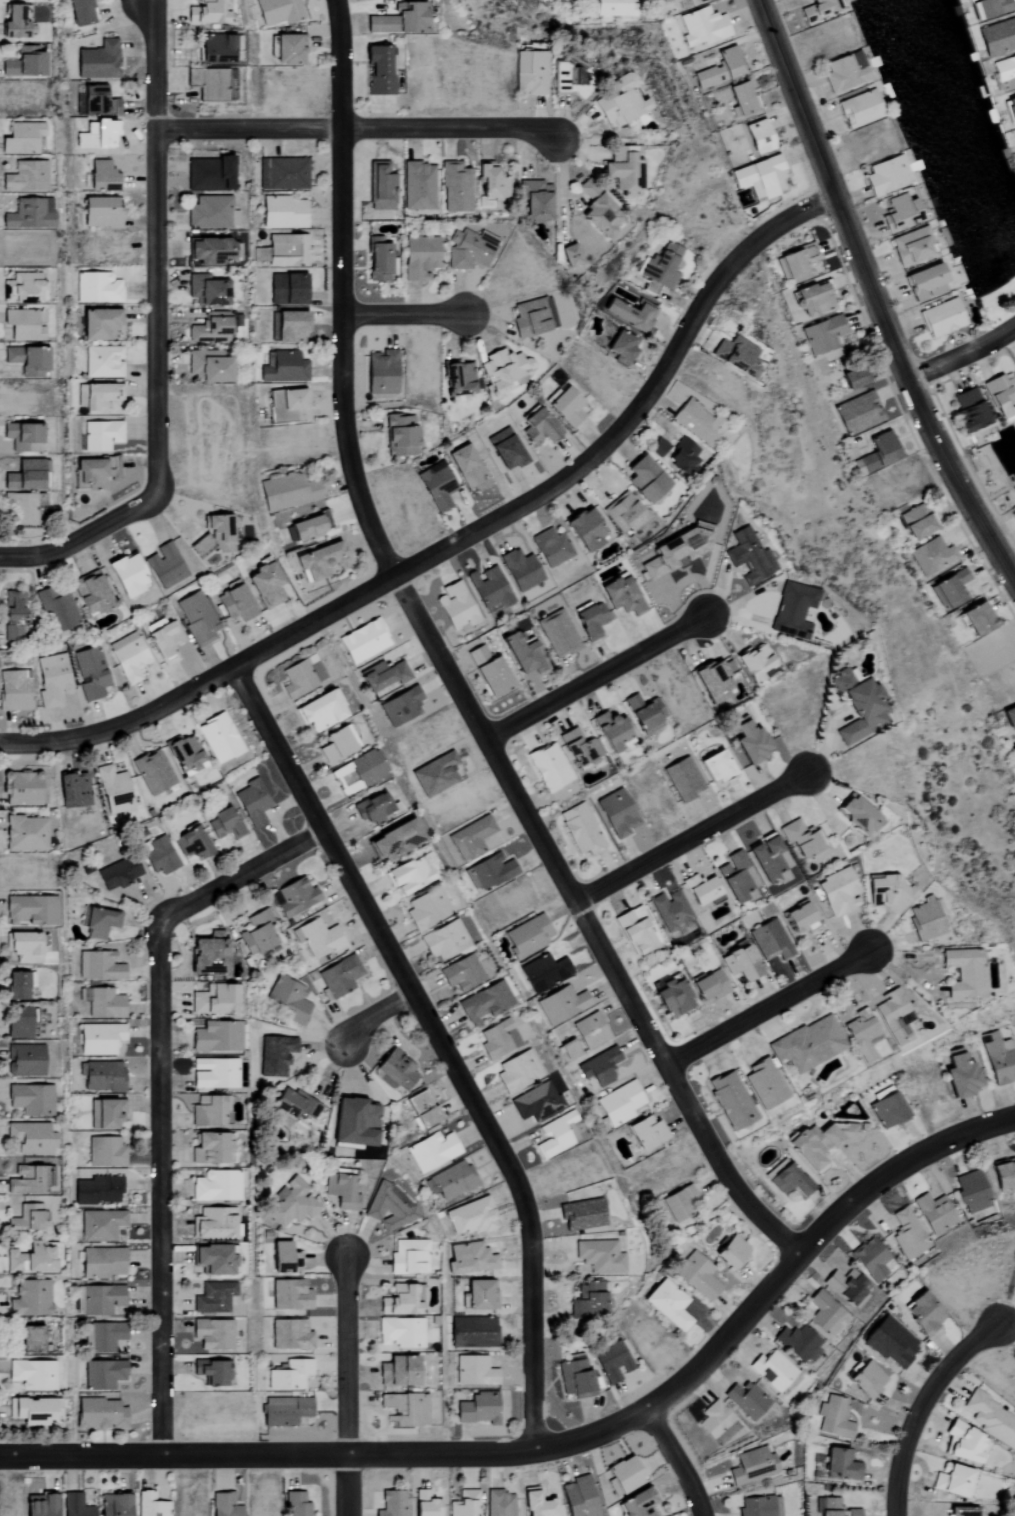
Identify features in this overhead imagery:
building: (651, 0)
building: (570, 1)
building: (665, 1)
building: (989, 8)
building: (615, 9)
building: (818, 10)
building: (81, 12)
building: (277, 12)
building: (205, 13)
building: (397, 20)
building: (12, 22)
building: (702, 27)
building: (997, 37)
building: (214, 49)
building: (286, 50)
building: (97, 61)
building: (23, 63)
road: (344, 64)
building: (719, 69)
building: (379, 70)
building: (530, 72)
building: (844, 72)
building: (1004, 73)
building: (569, 81)
building: (207, 84)
building: (740, 100)
building: (618, 102)
building: (97, 103)
building: (1010, 109)
building: (859, 110)
road: (362, 128)
building: (1014, 134)
building: (757, 137)
building: (21, 138)
building: (207, 174)
building: (262, 174)
building: (287, 174)
building: (624, 175)
building: (886, 176)
building: (24, 177)
building: (101, 177)
building: (760, 179)
building: (492, 183)
building: (417, 186)
building: (380, 187)
building: (456, 188)
building: (535, 201)
building: (597, 211)
building: (99, 213)
building: (210, 213)
building: (282, 213)
building: (898, 213)
building: (28, 215)
building: (910, 246)
building: (287, 251)
building: (467, 251)
building: (210, 252)
building: (569, 256)
building: (418, 258)
building: (377, 261)
building: (796, 263)
building: (660, 269)
building: (925, 283)
building: (97, 288)
building: (20, 289)
building: (286, 290)
building: (205, 291)
road: (875, 298)
building: (813, 301)
road: (407, 314)
building: (629, 315)
building: (532, 318)
building: (941, 318)
building: (98, 324)
building: (22, 325)
building: (270, 327)
building: (288, 327)
building: (208, 329)
road: (157, 333)
building: (823, 335)
building: (620, 349)
road: (962, 355)
building: (738, 357)
building: (24, 362)
building: (103, 362)
building: (207, 367)
building: (283, 367)
building: (499, 372)
building: (381, 373)
building: (458, 380)
building: (853, 380)
building: (1000, 396)
building: (94, 398)
building: (294, 404)
building: (565, 408)
building: (969, 411)
building: (857, 414)
building: (698, 423)
building: (537, 428)
building: (100, 436)
building: (399, 436)
building: (21, 438)
building: (657, 448)
building: (876, 454)
building: (683, 458)
building: (466, 469)
building: (97, 473)
building: (24, 476)
building: (644, 480)
building: (436, 487)
building: (289, 492)
building: (18, 509)
building: (624, 513)
building: (1013, 518)
building: (916, 522)
building: (310, 527)
building: (584, 531)
building: (219, 533)
road: (464, 538)
building: (551, 548)
building: (673, 553)
building: (749, 557)
building: (931, 557)
building: (321, 562)
building: (165, 566)
building: (520, 570)
building: (124, 576)
building: (263, 585)
building: (489, 589)
building: (951, 590)
building: (90, 595)
building: (235, 604)
building: (455, 608)
building: (56, 609)
building: (793, 611)
building: (11, 618)
building: (197, 618)
building: (977, 619)
building: (590, 621)
building: (558, 635)
building: (163, 641)
building: (363, 642)
building: (519, 654)
building: (128, 658)
building: (754, 663)
building: (488, 672)
building: (90, 674)
building: (384, 677)
road: (599, 677)
building: (51, 680)
building: (712, 683)
building: (14, 691)
building: (858, 707)
building: (400, 708)
building: (317, 712)
building: (644, 714)
building: (1009, 718)
road: (479, 720)
building: (609, 730)
building: (217, 738)
building: (333, 744)
building: (751, 744)
building: (578, 748)
building: (1013, 749)
building: (184, 753)
building: (715, 766)
building: (365, 767)
building: (548, 767)
building: (152, 772)
building: (434, 774)
building: (682, 779)
building: (26, 787)
building: (74, 790)
building: (113, 790)
building: (252, 803)
building: (369, 809)
building: (616, 814)
building: (857, 814)
building: (223, 824)
building: (580, 829)
building: (24, 833)
road: (695, 837)
building: (471, 838)
building: (800, 838)
building: (391, 839)
building: (192, 843)
building: (158, 855)
building: (769, 860)
building: (489, 872)
building: (118, 873)
building: (406, 874)
building: (736, 876)
building: (700, 889)
building: (887, 892)
building: (838, 893)
building: (294, 896)
building: (30, 910)
building: (426, 910)
building: (670, 911)
building: (800, 919)
building: (925, 919)
building: (98, 922)
building: (634, 931)
building: (256, 933)
building: (319, 937)
building: (526, 937)
building: (770, 940)
building: (442, 941)
building: (23, 947)
building: (207, 954)
building: (739, 963)
building: (98, 966)
building: (543, 972)
building: (459, 973)
building: (964, 973)
building: (339, 976)
building: (17, 984)
building: (709, 986)
building: (671, 997)
building: (213, 999)
building: (289, 999)
building: (102, 1003)
building: (483, 1003)
building: (560, 1005)
road: (775, 1007)
road: (374, 1015)
building: (895, 1017)
building: (16, 1023)
building: (589, 1031)
building: (216, 1037)
building: (862, 1037)
building: (99, 1039)
building: (496, 1039)
building: (807, 1045)
road: (442, 1046)
building: (569, 1049)
building: (999, 1058)
building: (23, 1060)
building: (598, 1067)
building: (396, 1070)
building: (516, 1071)
building: (212, 1073)
building: (960, 1074)
building: (102, 1076)
building: (763, 1084)
road: (162, 1091)
building: (29, 1099)
building: (729, 1101)
building: (535, 1103)
building: (619, 1104)
building: (293, 1106)
building: (421, 1109)
building: (887, 1109)
building: (205, 1111)
building: (102, 1115)
building: (354, 1122)
building: (645, 1133)
building: (556, 1135)
building: (29, 1138)
building: (820, 1145)
building: (211, 1148)
building: (432, 1151)
building: (106, 1152)
building: (1004, 1175)
building: (786, 1178)
building: (26, 1180)
building: (452, 1181)
building: (216, 1185)
building: (98, 1191)
building: (341, 1192)
building: (972, 1192)
building: (678, 1203)
building: (290, 1204)
building: (390, 1208)
building: (935, 1214)
building: (581, 1216)
building: (469, 1217)
building: (24, 1218)
building: (212, 1223)
building: (100, 1225)
building: (908, 1234)
building: (730, 1251)
building: (407, 1257)
building: (599, 1257)
building: (282, 1258)
building: (28, 1259)
building: (213, 1259)
building: (469, 1259)
building: (872, 1260)
building: (101, 1263)
building: (697, 1275)
building: (846, 1286)
building: (289, 1295)
building: (478, 1295)
building: (212, 1298)
building: (28, 1299)
building: (99, 1299)
building: (398, 1301)
building: (587, 1301)
building: (666, 1305)
building: (825, 1313)
building: (921, 1314)
building: (399, 1332)
building: (471, 1332)
building: (211, 1334)
building: (289, 1335)
building: (103, 1337)
building: (27, 1340)
building: (799, 1343)
building: (890, 1343)
building: (613, 1362)
building: (473, 1371)
building: (774, 1371)
building: (397, 1372)
building: (210, 1373)
building: (30, 1374)
building: (103, 1375)
building: (288, 1375)
building: (866, 1379)
road: (352, 1386)
building: (746, 1401)
road: (925, 1407)
building: (478, 1409)
building: (404, 1410)
building: (29, 1411)
building: (285, 1411)
building: (100, 1413)
building: (834, 1419)
building: (991, 1419)
building: (717, 1423)
road: (563, 1440)
building: (962, 1443)
road: (679, 1462)
building: (837, 1465)
building: (752, 1466)
building: (624, 1475)
building: (951, 1480)
building: (578, 1497)
building: (499, 1503)
building: (295, 1504)
building: (390, 1504)
building: (424, 1504)
building: (464, 1504)
building: (537, 1504)
building: (636, 1504)
building: (39, 1505)
building: (114, 1505)
building: (152, 1505)
building: (223, 1505)
building: (75, 1506)
building: (758, 1506)
building: (829, 1507)
building: (852, 1512)

